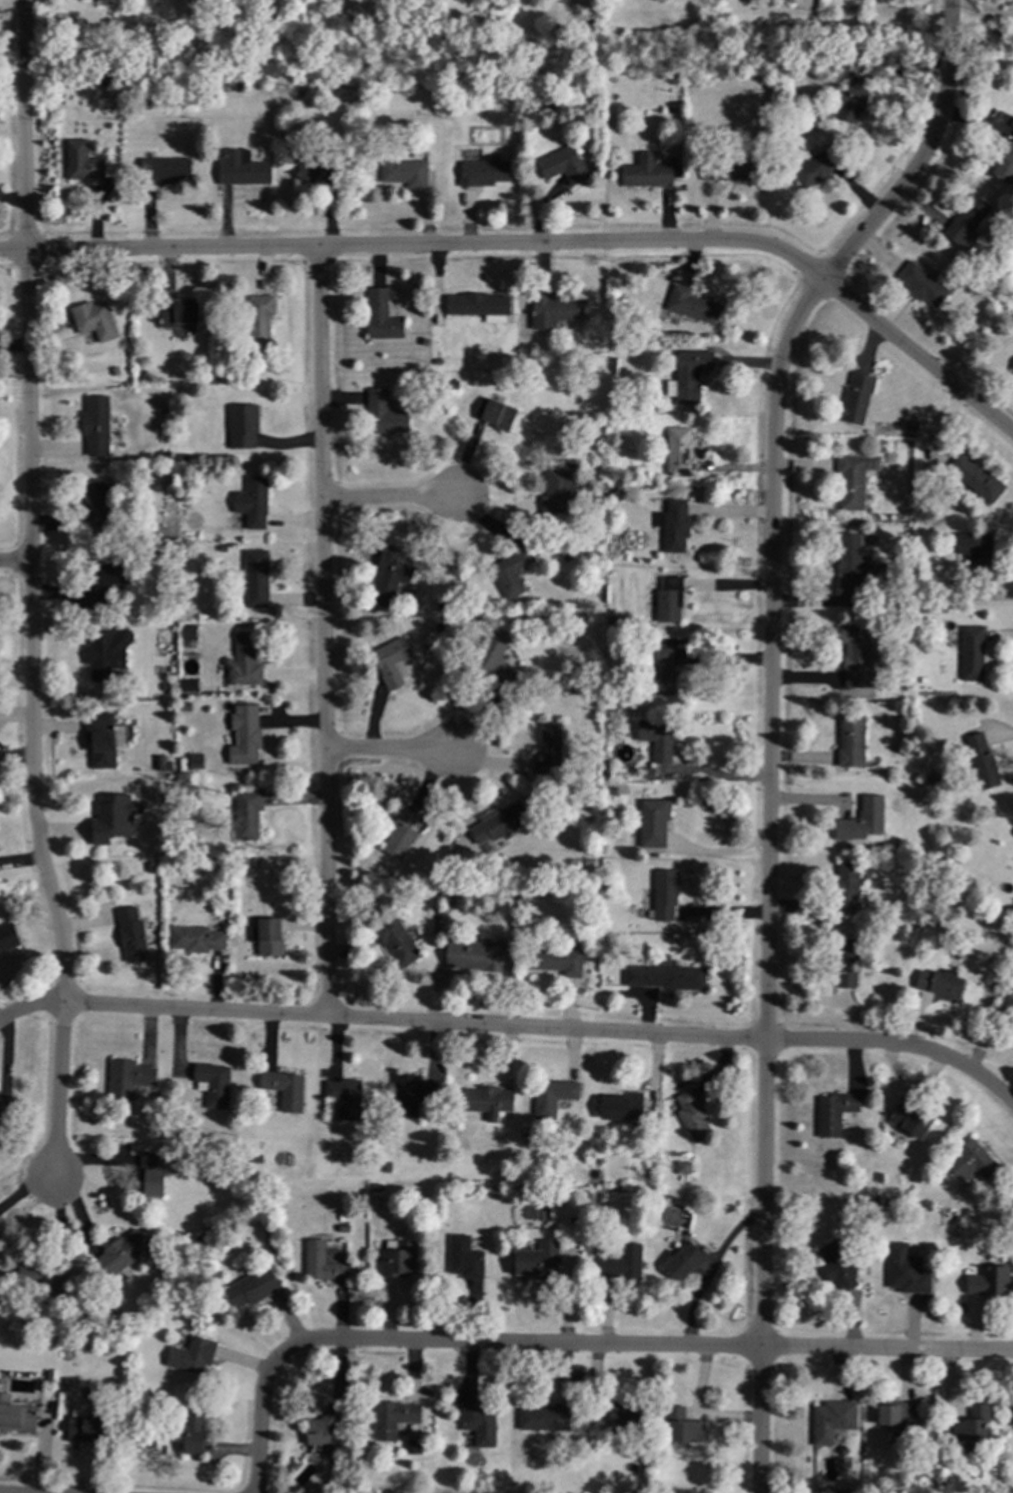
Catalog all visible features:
building: (73, 0)
building: (71, 34)
building: (487, 45)
building: (854, 99)
building: (85, 164)
building: (1005, 164)
building: (562, 165)
building: (819, 165)
building: (241, 168)
building: (162, 170)
building: (726, 170)
building: (645, 171)
building: (405, 172)
building: (484, 172)
building: (313, 173)
building: (966, 219)
road: (539, 247)
building: (923, 284)
building: (477, 303)
building: (691, 305)
building: (554, 310)
building: (180, 313)
building: (380, 315)
building: (260, 319)
building: (94, 320)
building: (1011, 370)
building: (689, 373)
building: (856, 398)
building: (384, 413)
building: (497, 416)
building: (242, 425)
building: (95, 426)
building: (680, 452)
building: (854, 478)
building: (975, 479)
building: (556, 485)
road: (386, 500)
building: (253, 502)
building: (96, 505)
building: (673, 525)
building: (976, 548)
building: (858, 563)
road: (13, 565)
building: (511, 571)
building: (256, 578)
building: (390, 579)
building: (103, 584)
road: (28, 588)
building: (666, 600)
building: (188, 633)
road: (325, 633)
building: (857, 652)
building: (107, 653)
building: (972, 654)
building: (489, 657)
building: (244, 661)
building: (389, 663)
building: (660, 671)
building: (188, 686)
road: (771, 720)
building: (246, 737)
building: (658, 738)
building: (101, 739)
building: (850, 741)
building: (550, 747)
road: (391, 754)
building: (195, 762)
building: (983, 762)
road: (715, 776)
building: (105, 804)
building: (247, 812)
building: (861, 821)
building: (652, 822)
building: (498, 823)
building: (400, 836)
building: (847, 886)
building: (665, 894)
building: (131, 935)
building: (8, 937)
building: (199, 937)
building: (270, 937)
building: (396, 941)
building: (474, 956)
building: (556, 961)
building: (846, 961)
building: (665, 976)
building: (940, 983)
building: (1005, 1006)
road: (514, 1025)
building: (128, 1077)
building: (214, 1083)
building: (285, 1088)
building: (553, 1094)
building: (405, 1096)
building: (345, 1097)
building: (485, 1101)
building: (621, 1106)
building: (833, 1111)
building: (4, 1116)
building: (693, 1116)
building: (911, 1117)
building: (969, 1160)
building: (683, 1168)
building: (153, 1170)
building: (123, 1251)
building: (465, 1258)
building: (400, 1260)
building: (539, 1260)
building: (684, 1261)
building: (622, 1262)
building: (322, 1263)
building: (837, 1267)
building: (905, 1269)
road: (710, 1272)
building: (40, 1277)
building: (988, 1281)
building: (254, 1288)
road: (642, 1345)
building: (193, 1356)
building: (896, 1412)
building: (17, 1417)
building: (393, 1418)
building: (545, 1418)
building: (626, 1418)
building: (831, 1420)
building: (479, 1421)
road: (261, 1423)
building: (970, 1424)
building: (323, 1426)
building: (683, 1426)
building: (87, 1427)
building: (192, 1432)

